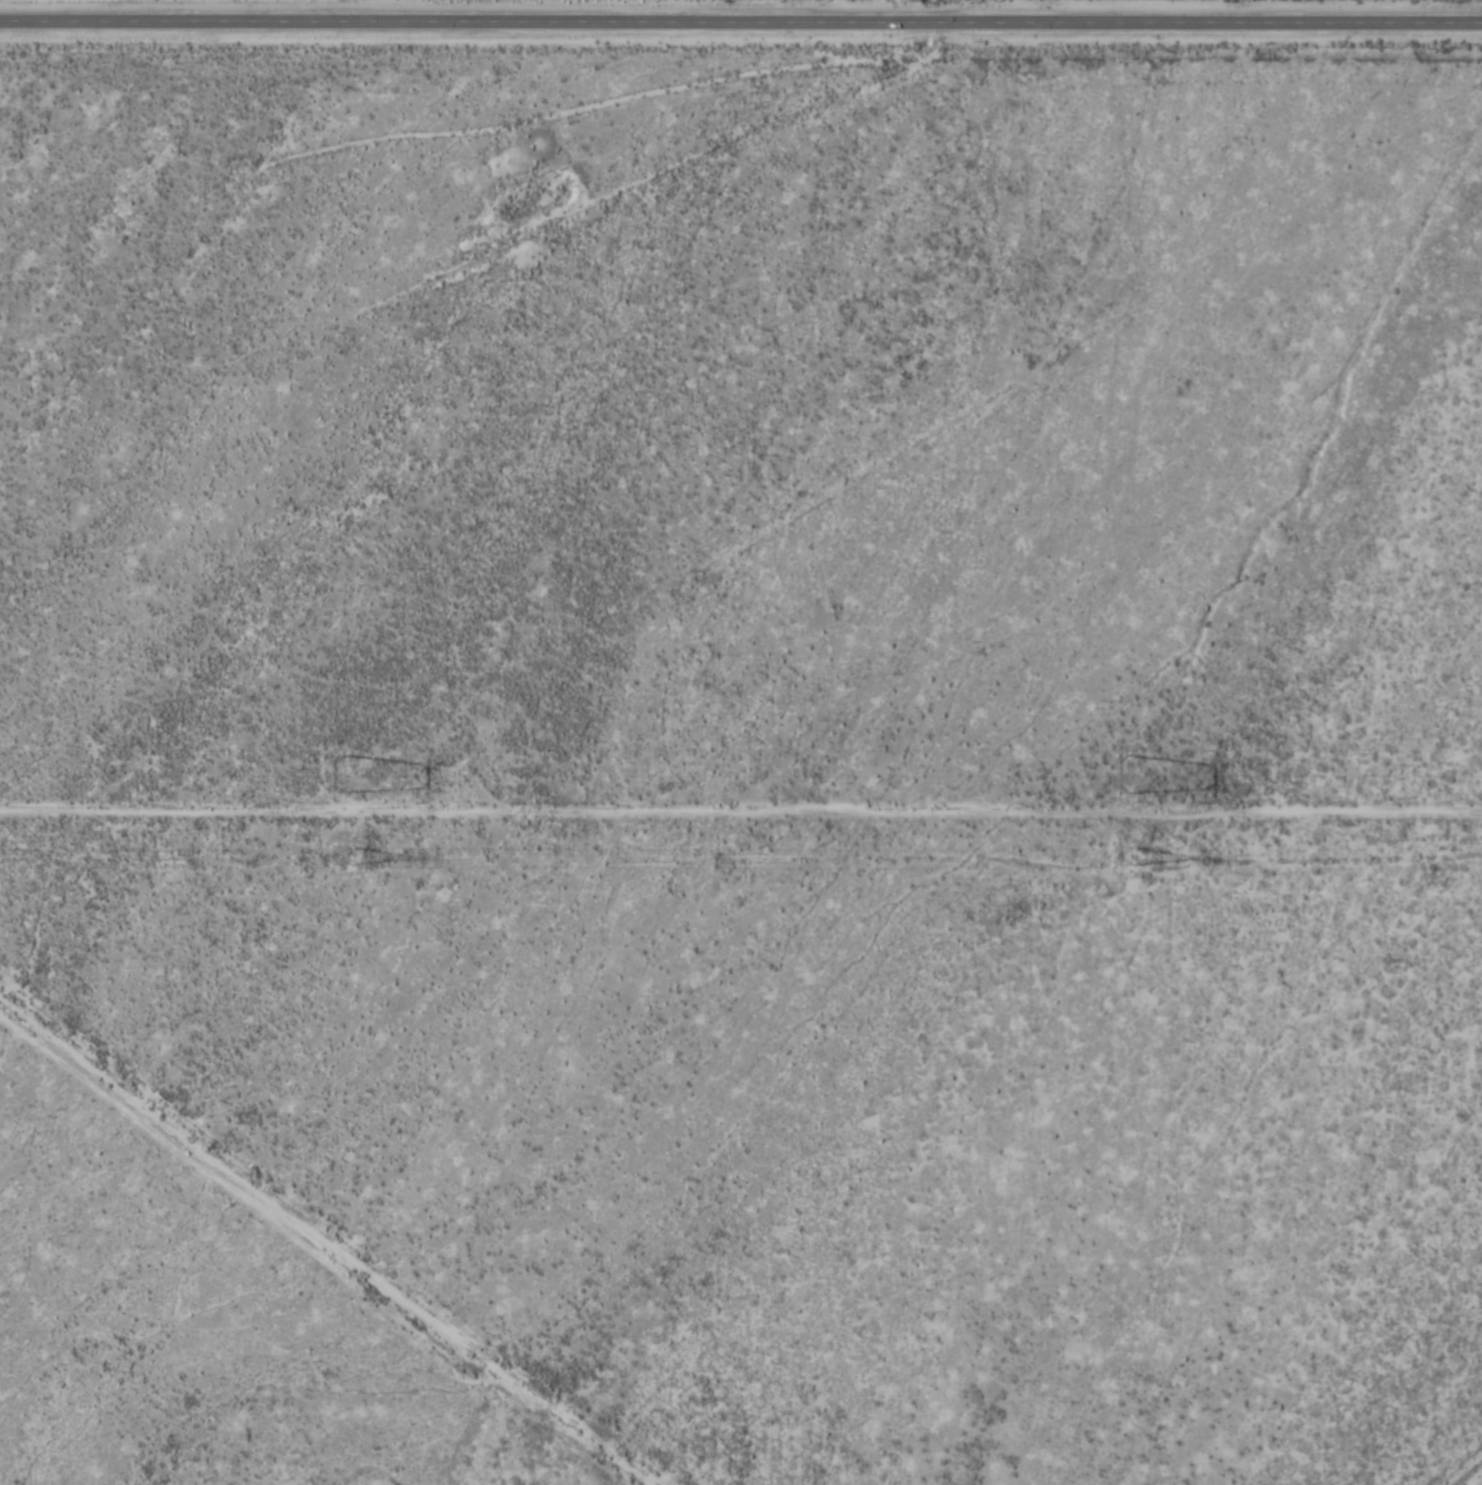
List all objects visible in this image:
road: (741, 22)
power tower: (357, 778)
power tower: (1139, 783)
power tower: (1147, 858)
power tower: (347, 860)

